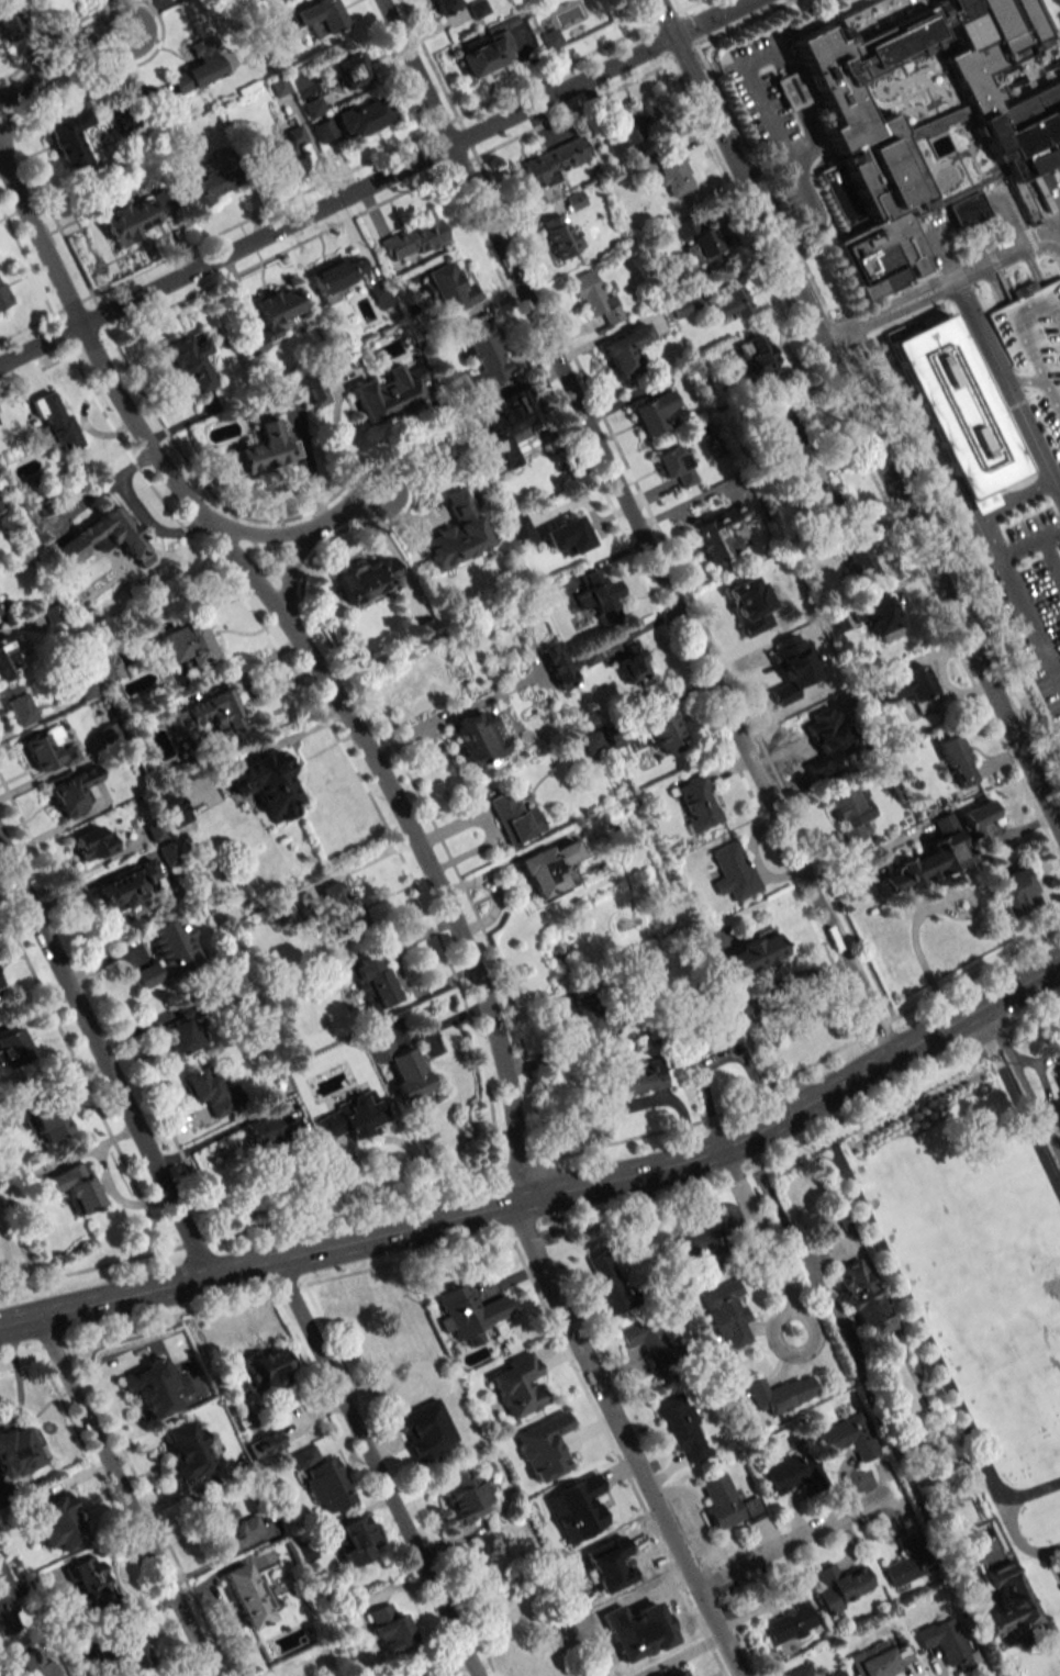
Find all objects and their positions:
building: (446, 5)
building: (320, 14)
building: (11, 19)
building: (550, 38)
building: (486, 52)
road: (74, 57)
building: (198, 69)
building: (353, 70)
building: (278, 86)
road: (14, 89)
road: (14, 101)
road: (763, 104)
road: (805, 110)
building: (362, 116)
building: (929, 116)
building: (126, 122)
building: (628, 129)
building: (323, 130)
building: (68, 137)
building: (288, 145)
building: (548, 164)
building: (673, 176)
road: (373, 182)
building: (205, 188)
building: (138, 215)
road: (811, 216)
building: (560, 236)
building: (412, 238)
building: (701, 245)
building: (337, 273)
road: (940, 286)
building: (447, 288)
building: (379, 295)
building: (2, 297)
building: (595, 298)
building: (732, 303)
building: (271, 317)
road: (980, 327)
road: (93, 350)
building: (624, 350)
building: (1036, 351)
parking garage: (1036, 351)
building: (759, 357)
building: (486, 358)
building: (190, 360)
building: (305, 389)
building: (387, 394)
building: (958, 411)
building: (656, 413)
road: (857, 414)
building: (54, 421)
building: (507, 429)
road: (1031, 433)
building: (778, 435)
building: (263, 450)
building: (676, 466)
road: (1018, 498)
building: (822, 499)
building: (1, 504)
road: (345, 515)
road: (636, 525)
building: (520, 532)
road: (1052, 532)
building: (455, 534)
building: (719, 534)
road: (257, 535)
building: (567, 535)
road: (993, 537)
building: (103, 538)
road: (1039, 539)
building: (861, 561)
parking lot: (1026, 577)
road: (290, 580)
building: (367, 580)
building: (598, 592)
building: (1, 614)
road: (1031, 616)
building: (881, 619)
building: (835, 623)
building: (426, 628)
building: (814, 634)
building: (186, 644)
building: (7, 658)
building: (557, 666)
building: (634, 668)
building: (910, 689)
building: (785, 692)
building: (16, 705)
building: (210, 714)
building: (662, 730)
building: (476, 737)
building: (592, 741)
building: (49, 749)
building: (957, 761)
building: (266, 784)
building: (74, 791)
building: (698, 803)
building: (175, 808)
building: (850, 812)
building: (979, 816)
building: (514, 817)
building: (93, 842)
building: (168, 853)
building: (928, 859)
building: (547, 869)
building: (733, 871)
building: (125, 887)
building: (1014, 892)
building: (339, 904)
building: (170, 950)
building: (754, 953)
building: (372, 981)
building: (1, 984)
road: (751, 1003)
building: (589, 1019)
building: (185, 1031)
building: (710, 1038)
building: (13, 1048)
building: (1056, 1051)
road: (103, 1058)
building: (399, 1062)
building: (1057, 1076)
building: (639, 1077)
road: (1020, 1080)
road: (509, 1085)
building: (211, 1092)
road: (1015, 1103)
building: (354, 1116)
building: (47, 1121)
building: (272, 1132)
building: (77, 1187)
road: (549, 1191)
road: (548, 1227)
building: (705, 1240)
road: (761, 1241)
building: (607, 1283)
building: (863, 1298)
building: (469, 1312)
building: (726, 1312)
road: (917, 1325)
building: (647, 1341)
road: (852, 1347)
building: (271, 1365)
road: (348, 1376)
building: (517, 1385)
building: (152, 1388)
building: (781, 1393)
building: (681, 1427)
building: (847, 1438)
building: (265, 1443)
building: (19, 1452)
building: (187, 1452)
building: (304, 1456)
road: (617, 1456)
road: (373, 1466)
building: (794, 1472)
building: (327, 1485)
road: (124, 1494)
building: (464, 1496)
building: (727, 1502)
building: (56, 1521)
building: (225, 1526)
road: (793, 1538)
building: (356, 1540)
road: (1018, 1540)
building: (1059, 1564)
building: (904, 1568)
building: (89, 1580)
building: (839, 1586)
building: (247, 1595)
building: (1006, 1602)
building: (11, 1606)
building: (791, 1617)
road: (468, 1619)
building: (391, 1627)
building: (947, 1643)
building: (132, 1652)
building: (881, 1660)
building: (801, 1671)
building: (681, 1673)
building: (837, 1673)
building: (49, 1674)

